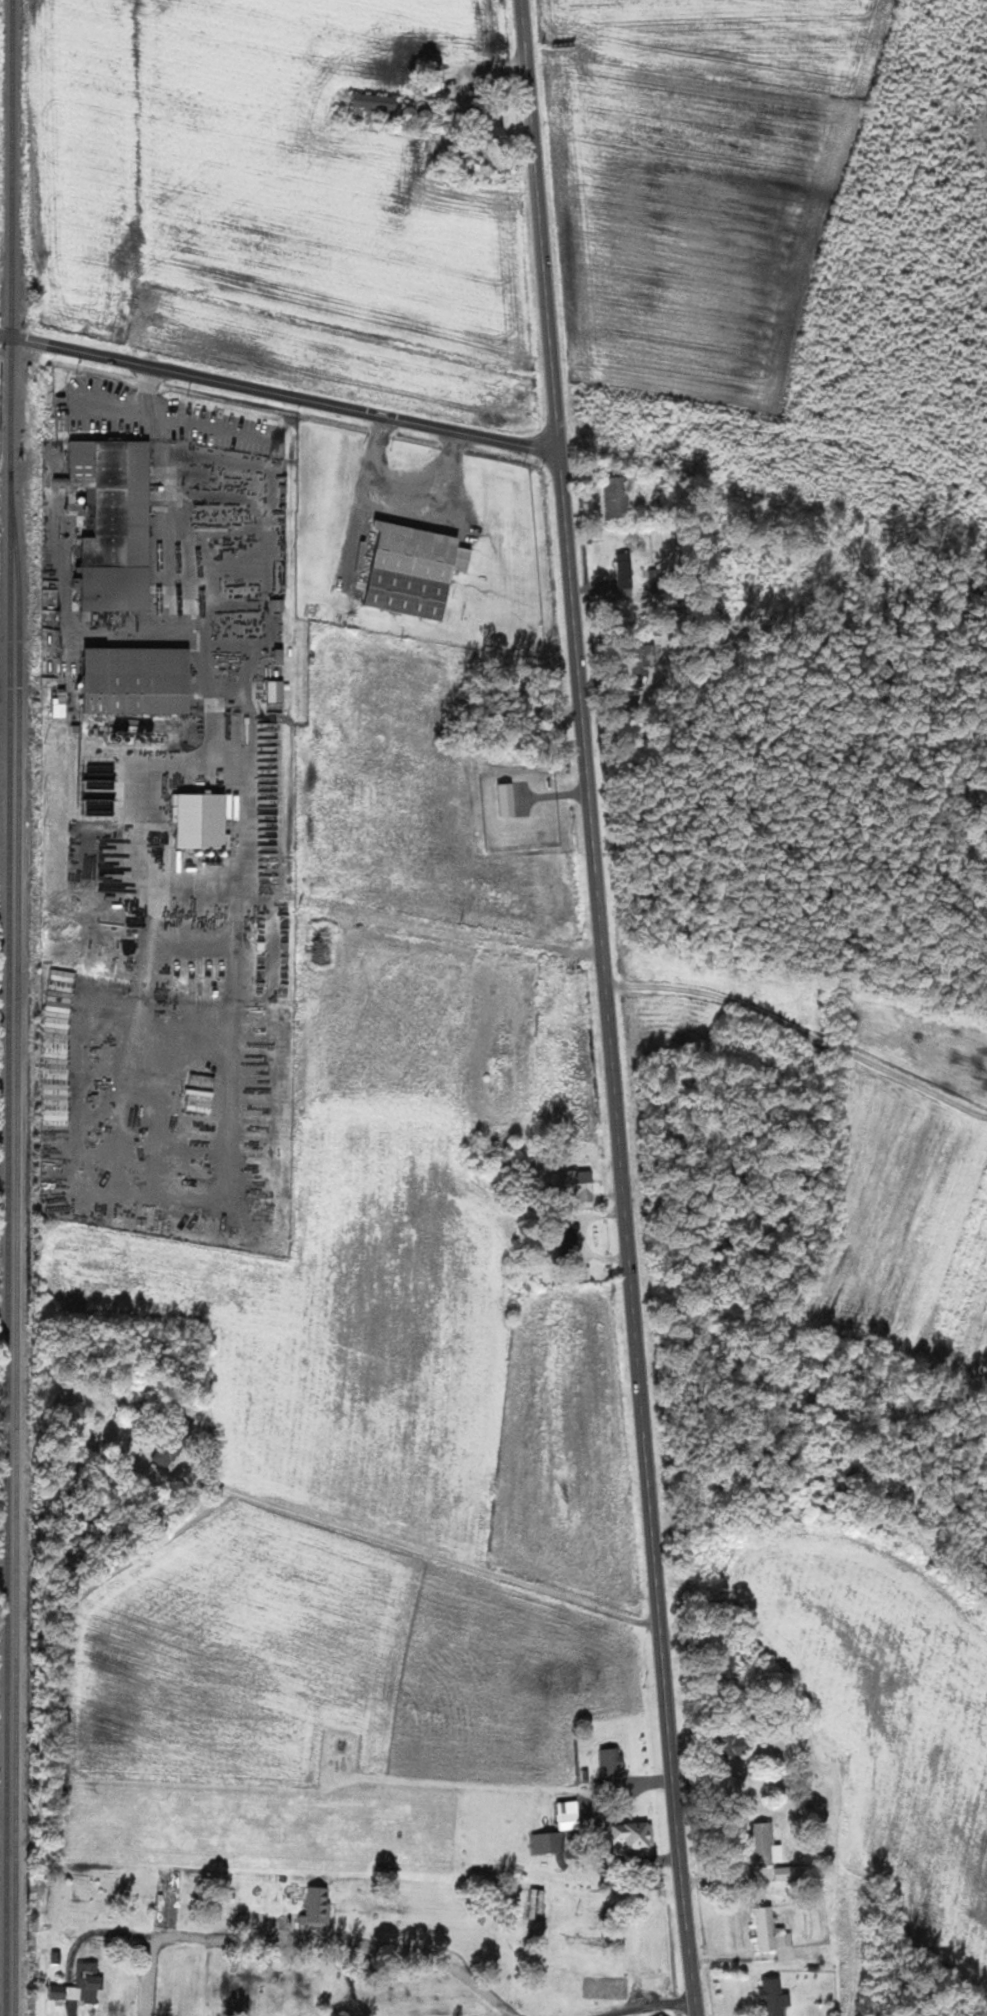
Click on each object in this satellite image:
building: (378, 102)
road: (279, 393)
building: (118, 525)
building: (416, 570)
building: (279, 605)
building: (646, 655)
building: (141, 680)
building: (277, 691)
building: (62, 702)
building: (204, 821)
railway: (10, 1008)
road: (605, 1009)
road: (799, 1031)
building: (59, 1047)
building: (202, 1099)
railway: (17, 1243)
building: (169, 1452)
road: (431, 1553)
building: (731, 1746)
building: (633, 1835)
building: (765, 1843)
building: (317, 1906)
building: (767, 1927)
road: (333, 1941)
road: (144, 1986)
building: (776, 1997)
road: (663, 2007)
road: (72, 2011)

